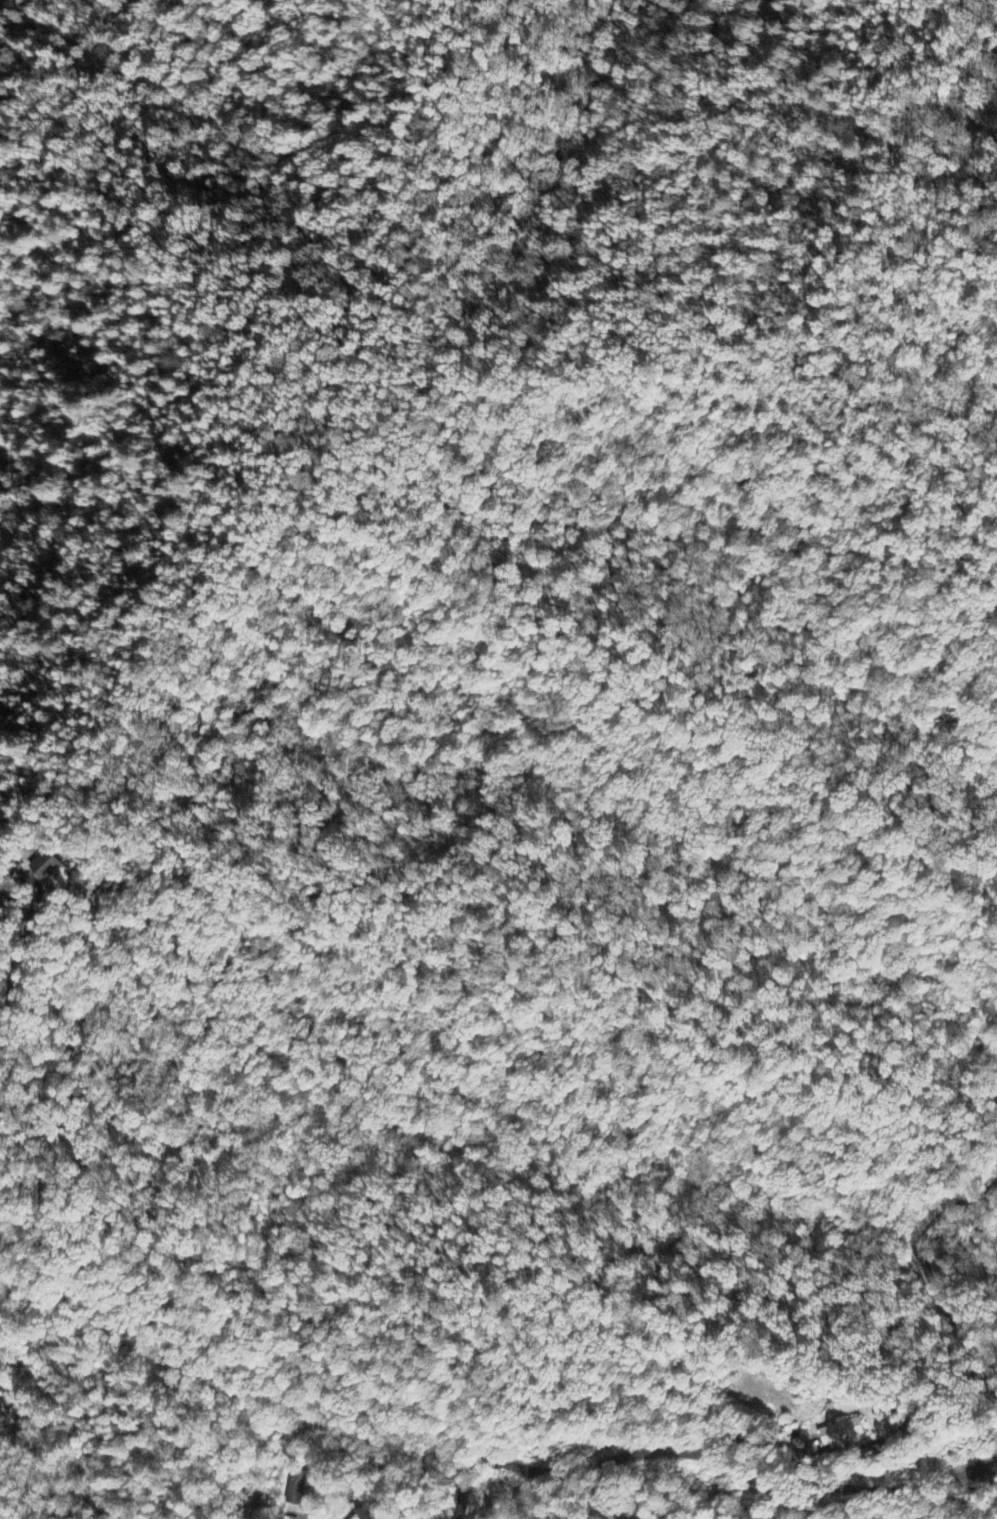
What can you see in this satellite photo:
building: (45, 868)
road: (6, 1073)
road: (926, 1277)
building: (2, 1378)
building: (839, 1432)
road: (557, 1472)
building: (294, 1488)
road: (850, 1490)
road: (4, 1508)

